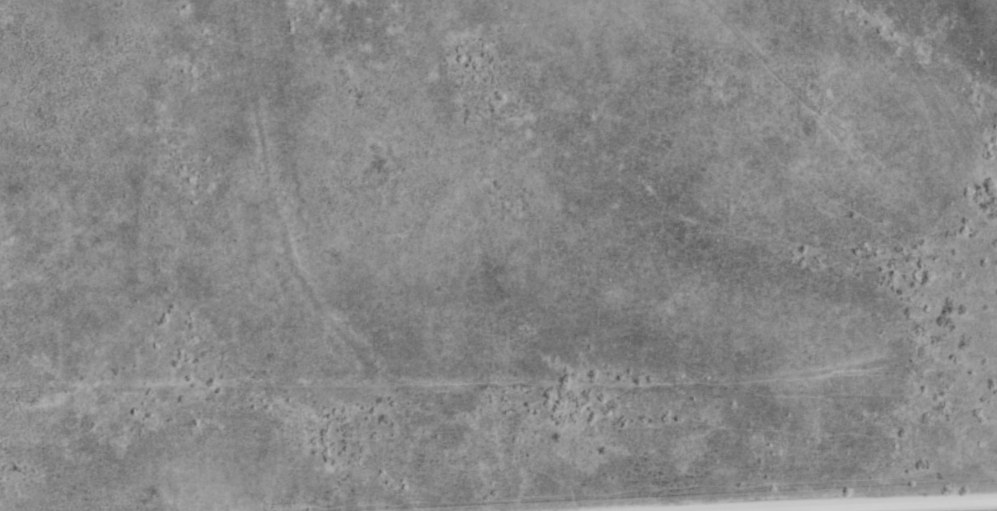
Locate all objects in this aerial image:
road: (862, 505)

